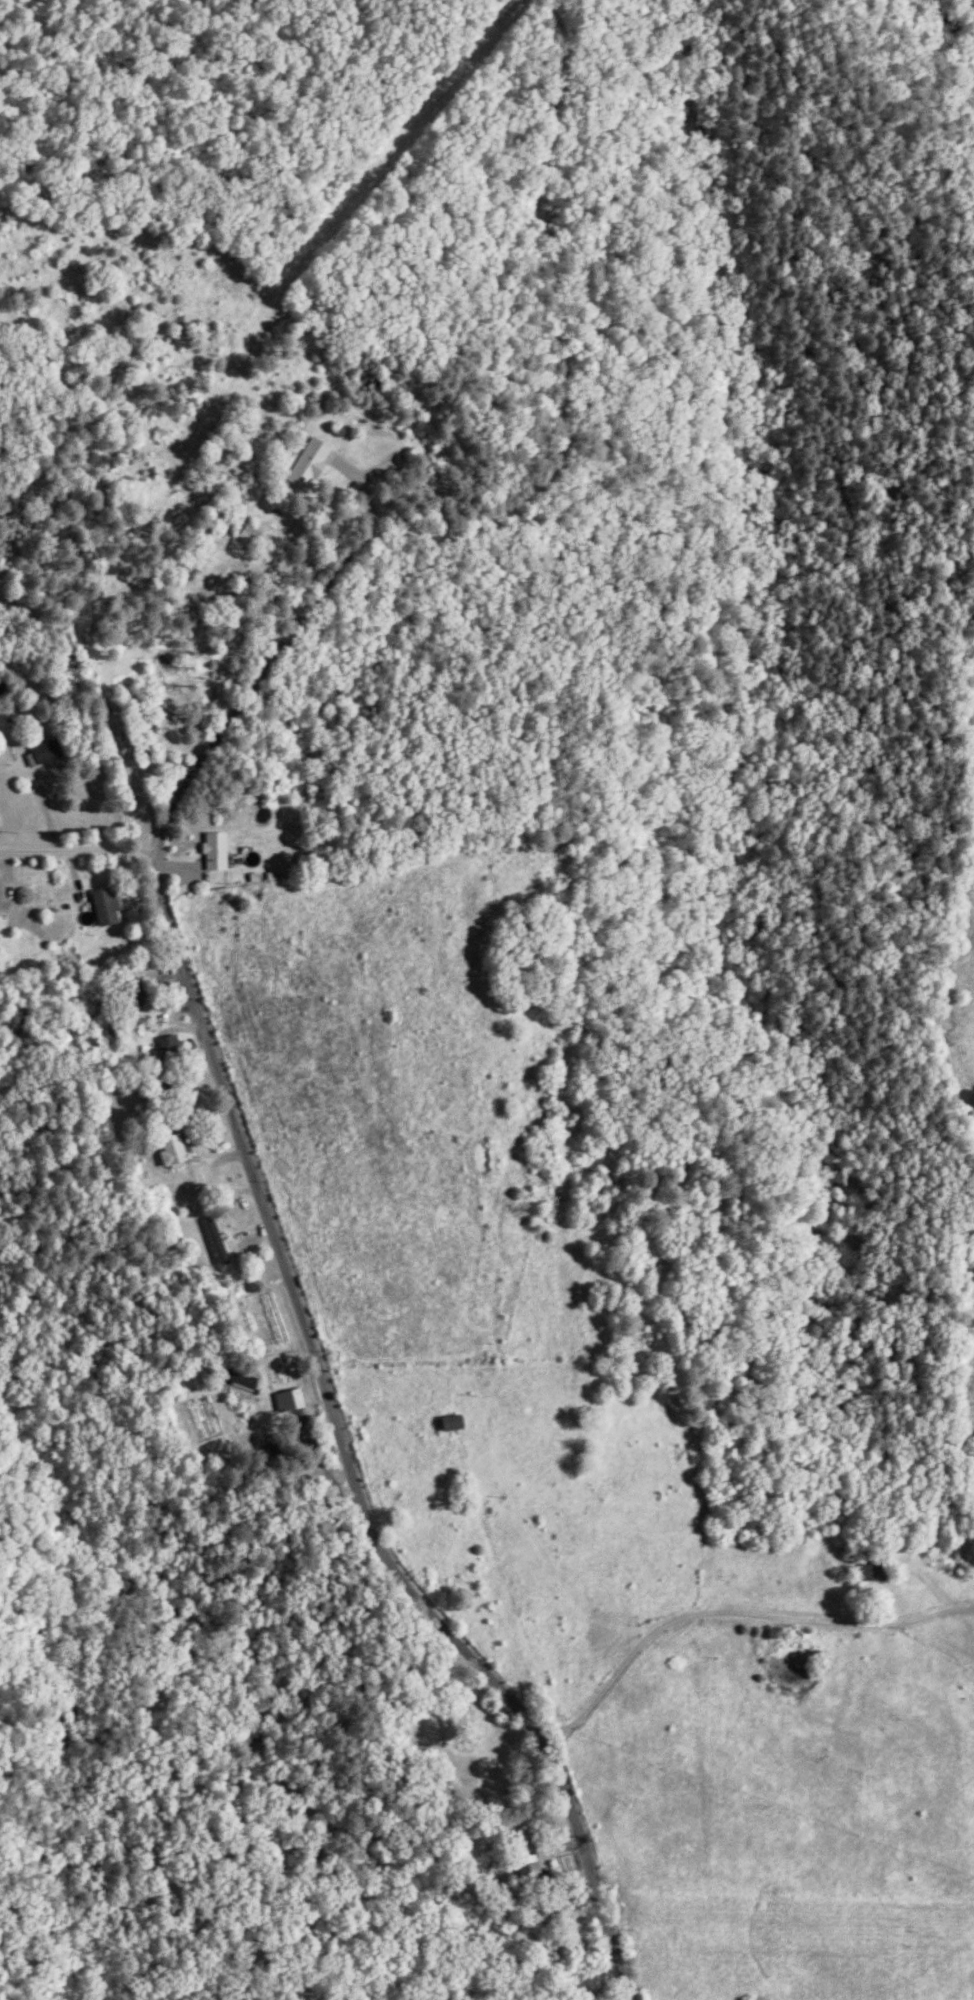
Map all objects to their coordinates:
road: (130, 780)
road: (72, 849)
building: (222, 851)
road: (152, 883)
building: (114, 906)
road: (170, 1046)
building: (177, 1155)
building: (221, 1240)
road: (734, 1610)

